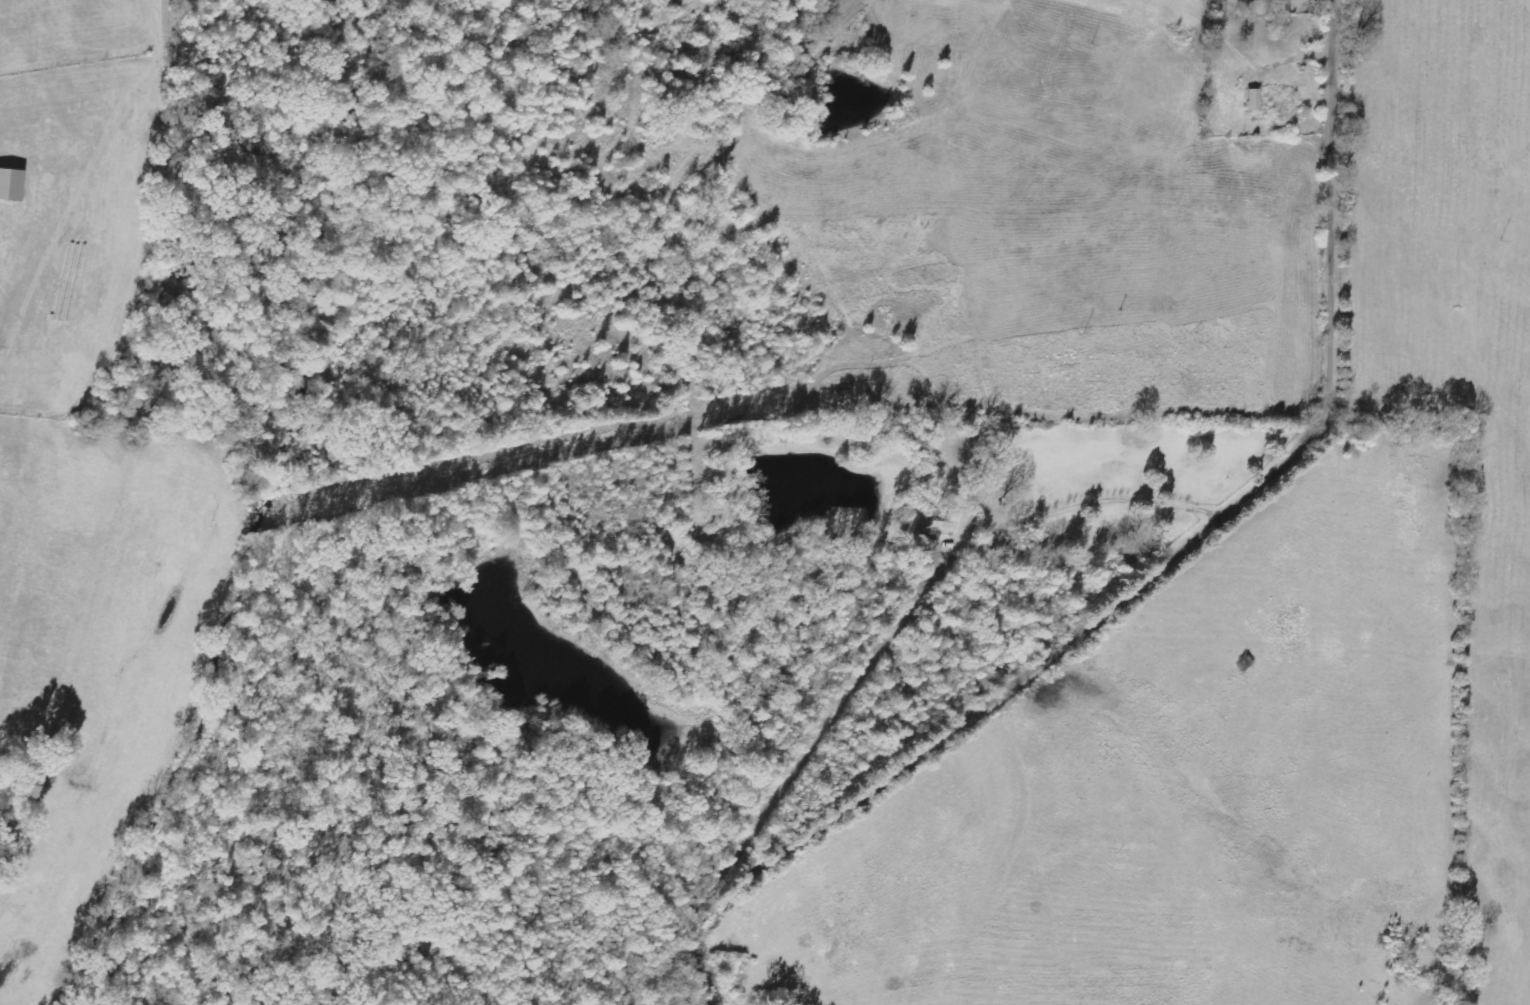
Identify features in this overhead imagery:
building: (1251, 100)
building: (9, 185)
building: (936, 526)
road: (1156, 574)

